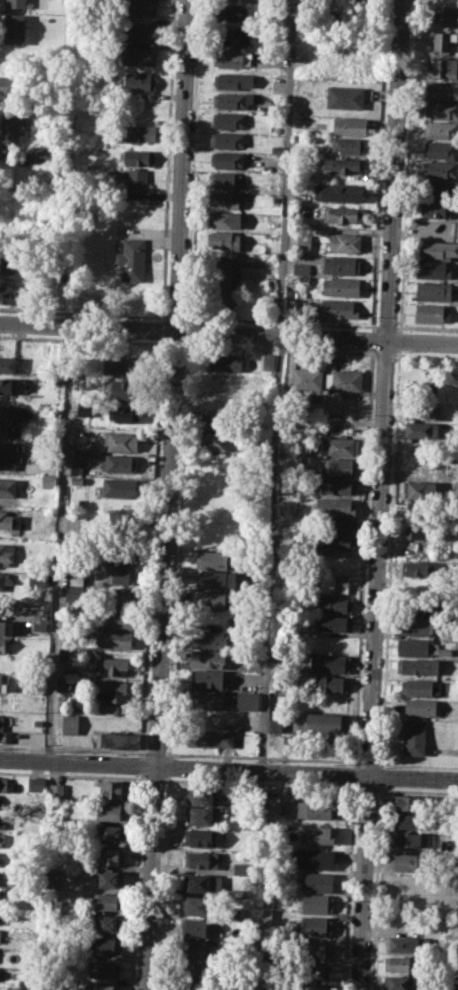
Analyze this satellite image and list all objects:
building: (356, 0)
building: (366, 0)
building: (16, 3)
building: (139, 8)
building: (232, 12)
building: (445, 15)
building: (14, 28)
building: (139, 33)
building: (233, 36)
building: (444, 41)
building: (139, 55)
building: (232, 58)
building: (441, 67)
building: (232, 80)
building: (140, 81)
building: (10, 84)
building: (441, 90)
building: (345, 97)
building: (233, 100)
building: (442, 110)
building: (229, 120)
building: (350, 125)
building: (13, 128)
building: (440, 129)
building: (141, 132)
building: (228, 139)
building: (349, 144)
building: (278, 149)
building: (440, 149)
building: (39, 155)
building: (139, 157)
building: (227, 158)
road: (167, 159)
building: (343, 165)
building: (265, 167)
building: (439, 168)
building: (227, 179)
building: (136, 181)
building: (438, 188)
building: (338, 192)
building: (302, 196)
building: (224, 199)
building: (276, 199)
road: (405, 204)
road: (379, 206)
building: (436, 208)
building: (342, 214)
building: (224, 218)
building: (223, 240)
building: (344, 241)
building: (302, 242)
building: (437, 248)
building: (131, 258)
building: (10, 260)
building: (341, 265)
building: (300, 268)
building: (433, 269)
building: (219, 280)
building: (340, 286)
building: (434, 291)
building: (12, 292)
building: (335, 308)
road: (83, 311)
building: (430, 312)
road: (178, 316)
road: (283, 321)
road: (387, 326)
road: (398, 326)
road: (429, 327)
road: (161, 328)
road: (228, 332)
road: (83, 338)
road: (373, 339)
road: (400, 340)
road: (175, 342)
road: (280, 347)
road: (400, 350)
road: (386, 353)
road: (397, 353)
building: (224, 360)
building: (267, 362)
building: (122, 364)
building: (8, 365)
building: (306, 378)
building: (345, 380)
road: (277, 384)
building: (11, 387)
building: (221, 389)
building: (127, 390)
building: (421, 391)
building: (84, 407)
building: (423, 412)
building: (9, 413)
building: (124, 413)
building: (220, 422)
building: (423, 429)
building: (10, 430)
building: (121, 440)
building: (218, 442)
building: (83, 443)
building: (339, 446)
building: (10, 452)
building: (81, 458)
building: (120, 462)
building: (340, 466)
building: (49, 480)
building: (336, 485)
building: (7, 487)
building: (121, 487)
building: (421, 489)
road: (380, 494)
road: (168, 495)
building: (335, 506)
building: (9, 520)
building: (122, 521)
building: (343, 526)
building: (422, 529)
road: (391, 530)
road: (59, 542)
building: (337, 543)
road: (151, 546)
building: (7, 553)
building: (122, 553)
road: (364, 554)
building: (213, 559)
building: (418, 568)
building: (120, 575)
building: (76, 577)
building: (35, 579)
building: (216, 579)
building: (5, 580)
building: (290, 581)
building: (333, 583)
building: (71, 593)
building: (118, 597)
building: (213, 600)
building: (334, 604)
building: (418, 608)
building: (115, 619)
building: (333, 623)
building: (417, 626)
building: (6, 627)
building: (40, 628)
building: (113, 639)
building: (209, 639)
building: (4, 645)
building: (415, 647)
building: (444, 651)
building: (63, 654)
building: (208, 658)
building: (328, 663)
building: (115, 666)
building: (416, 666)
building: (210, 679)
building: (3, 682)
building: (63, 683)
building: (333, 683)
building: (418, 687)
building: (113, 691)
building: (206, 698)
building: (247, 701)
building: (421, 707)
building: (118, 709)
building: (38, 723)
building: (70, 723)
building: (322, 723)
building: (1, 726)
building: (210, 737)
building: (414, 737)
building: (118, 740)
building: (285, 743)
building: (334, 745)
road: (73, 748)
road: (156, 751)
road: (262, 756)
road: (368, 762)
road: (378, 762)
road: (140, 764)
road: (229, 768)
road: (380, 775)
building: (3, 784)
building: (36, 784)
building: (115, 790)
road: (419, 790)
building: (57, 791)
building: (202, 796)
building: (411, 803)
building: (316, 809)
building: (111, 811)
building: (203, 815)
building: (410, 820)
building: (2, 821)
building: (112, 834)
building: (319, 834)
building: (200, 836)
building: (2, 837)
building: (408, 840)
building: (110, 856)
building: (203, 858)
building: (314, 858)
building: (404, 861)
building: (241, 869)
building: (109, 879)
road: (135, 881)
building: (318, 881)
building: (203, 882)
road: (376, 887)
building: (236, 893)
building: (108, 901)
building: (316, 903)
building: (202, 905)
building: (236, 913)
building: (264, 915)
building: (0, 917)
building: (107, 923)
building: (314, 925)
building: (201, 927)
building: (408, 944)
building: (105, 945)
building: (197, 947)
building: (314, 948)
building: (399, 962)
building: (105, 969)
building: (197, 970)
building: (313, 971)
building: (400, 982)
building: (103, 986)
building: (195, 986)
building: (313, 986)
building: (30, 989)

